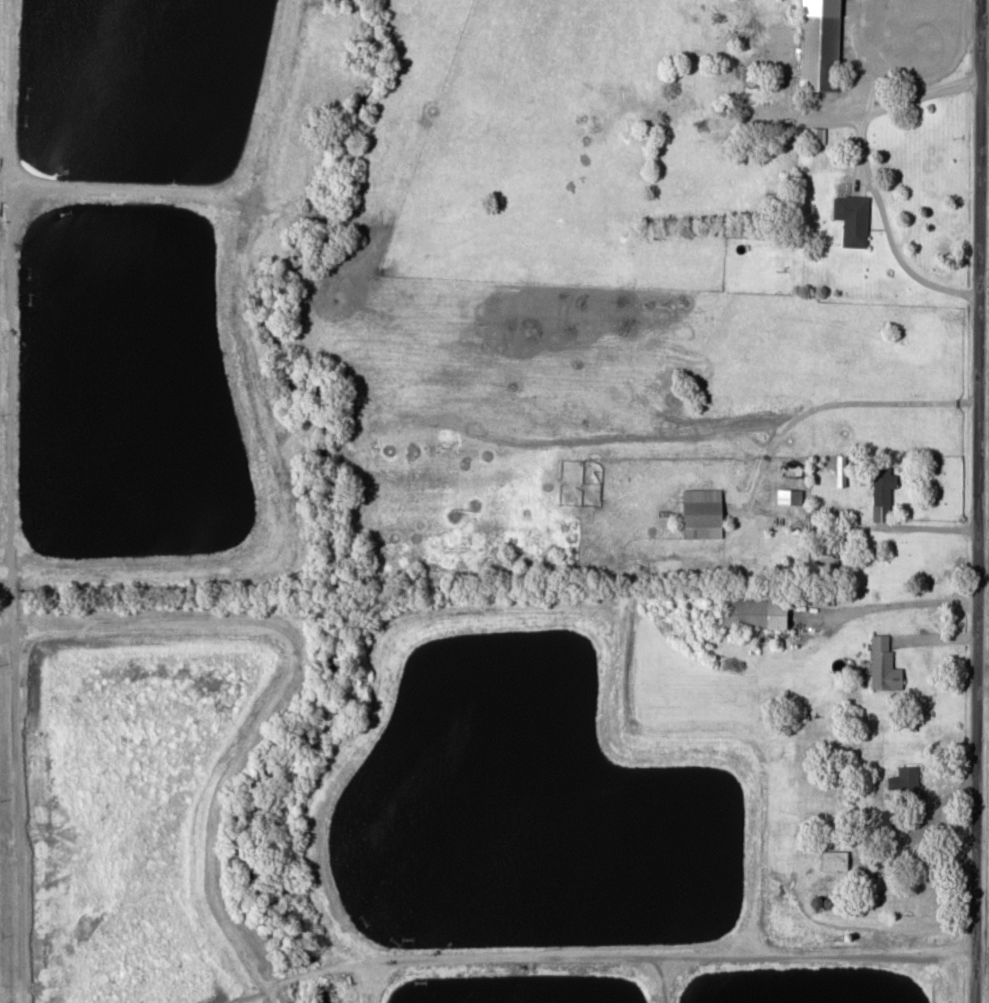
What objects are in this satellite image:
building: (774, 45)
building: (823, 45)
building: (858, 221)
building: (906, 327)
building: (845, 470)
building: (886, 484)
road: (980, 501)
building: (706, 513)
building: (757, 614)
building: (886, 663)
building: (836, 859)

